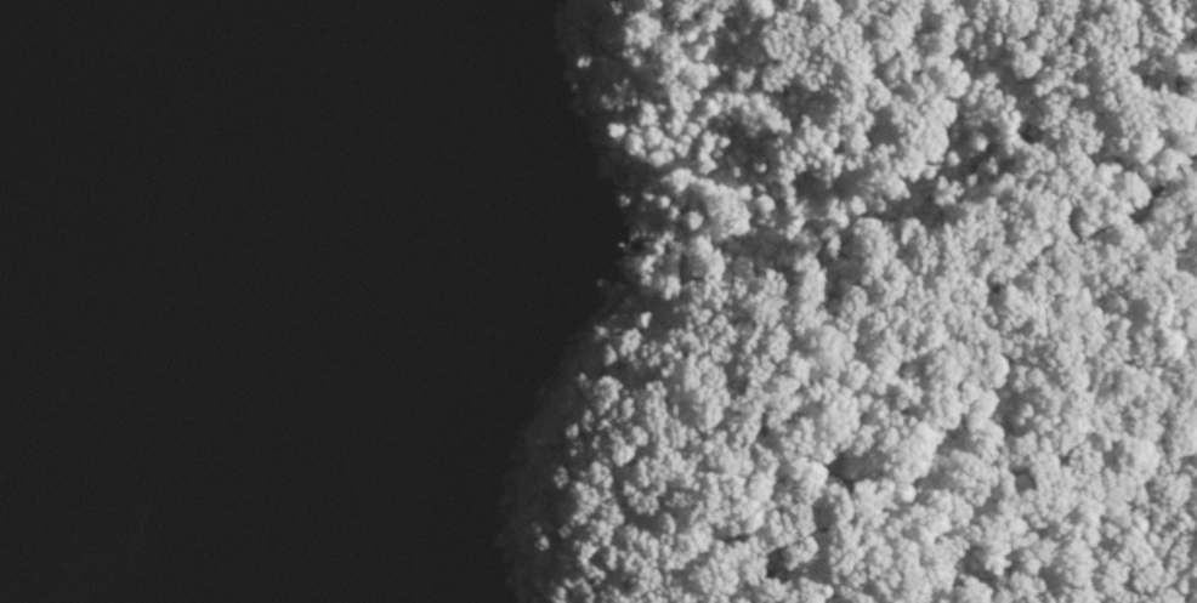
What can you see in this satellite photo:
road: (1072, 244)
road: (883, 388)

